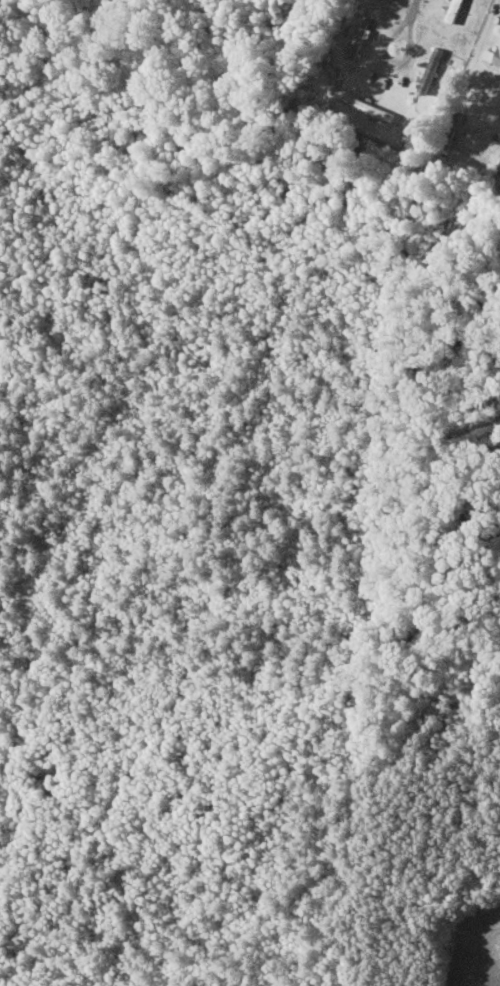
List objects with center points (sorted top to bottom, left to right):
road: (407, 24)
building: (432, 69)

